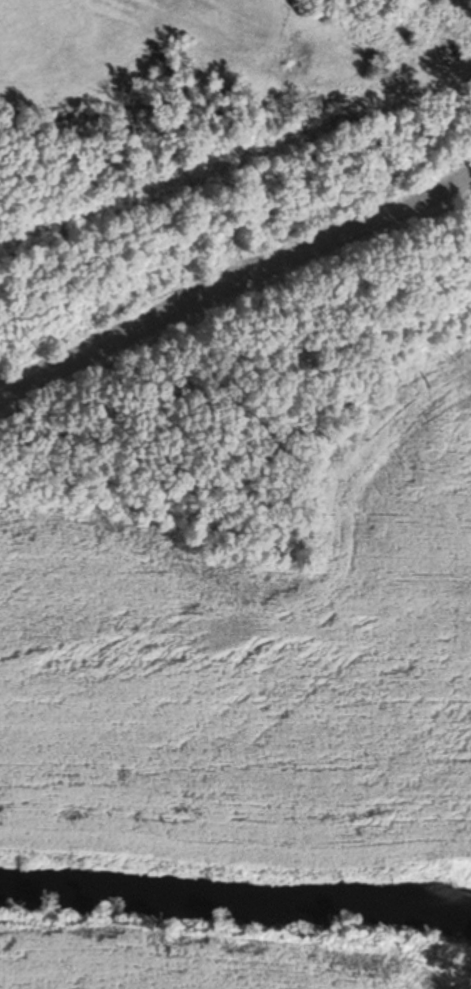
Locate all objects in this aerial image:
road: (236, 290)
river: (236, 898)

